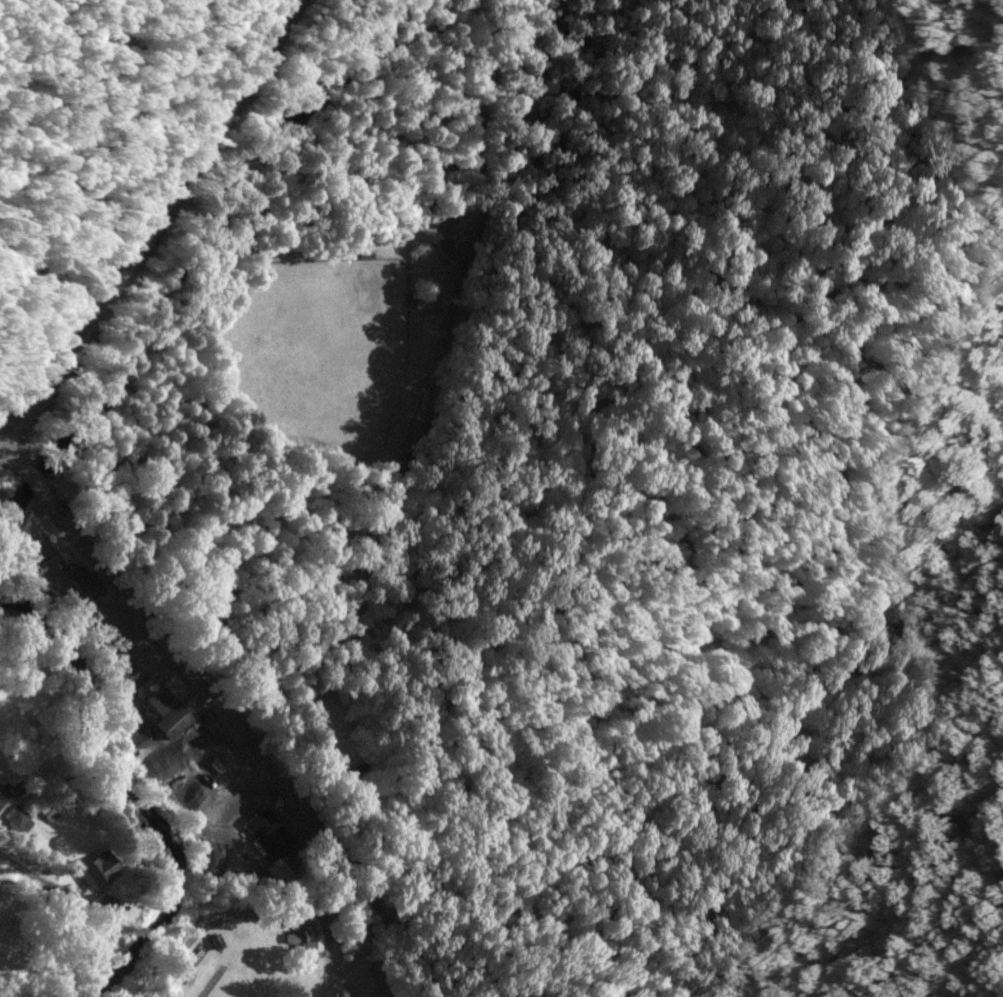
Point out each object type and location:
road: (151, 224)
park: (316, 346)
road: (436, 391)
road: (224, 708)
building: (175, 719)
building: (3, 793)
building: (267, 829)
road: (14, 849)
road: (521, 934)

